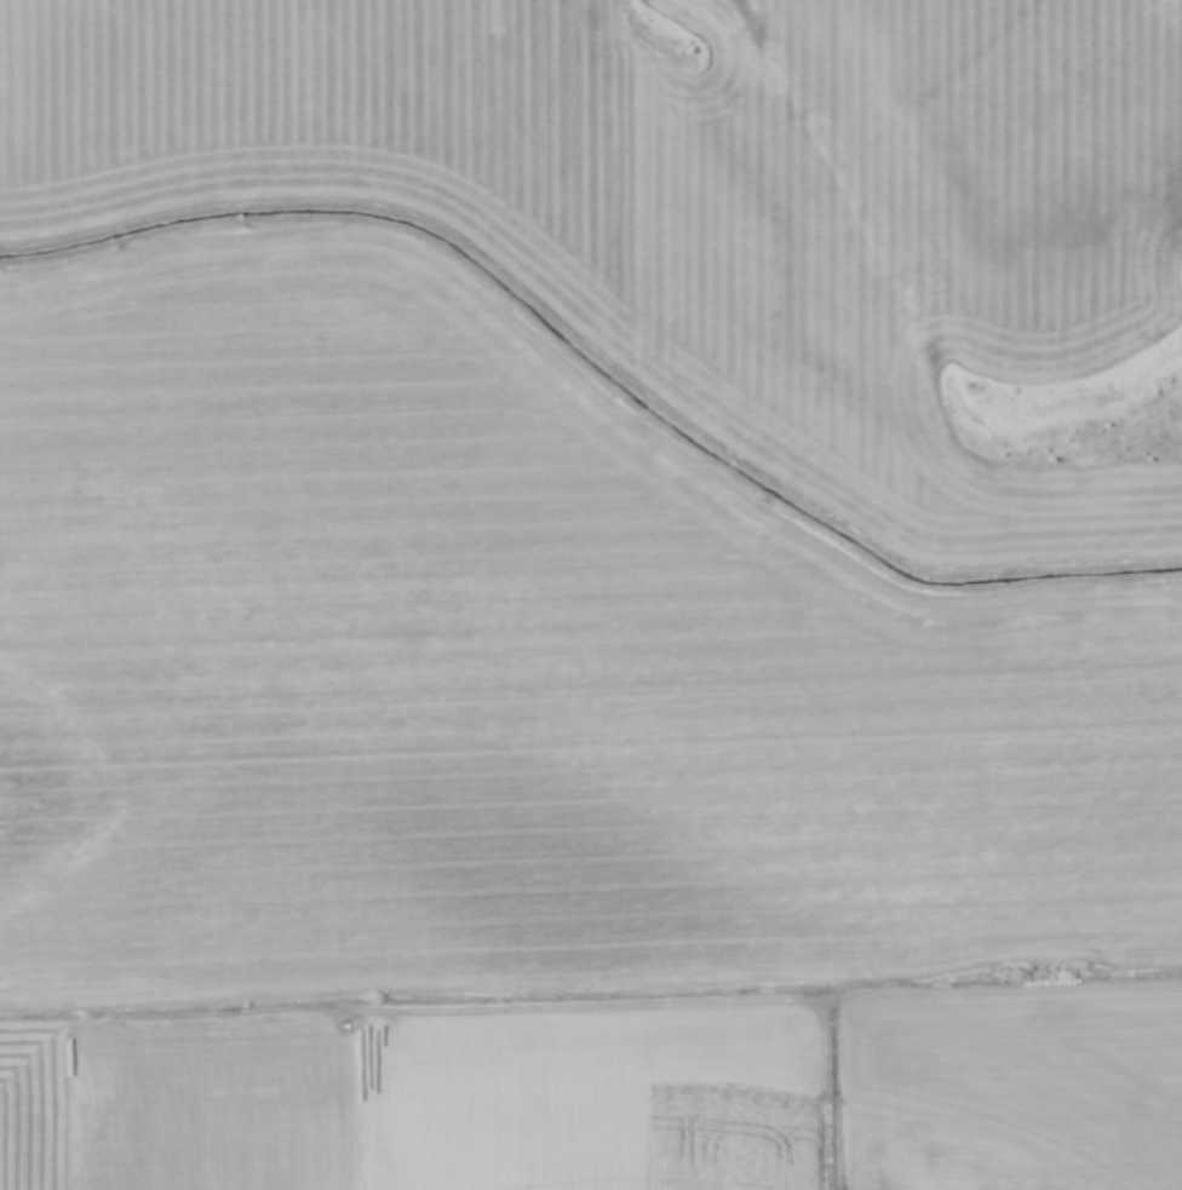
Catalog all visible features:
crop: (1010, 151)
crop: (563, 219)
crop: (530, 782)

